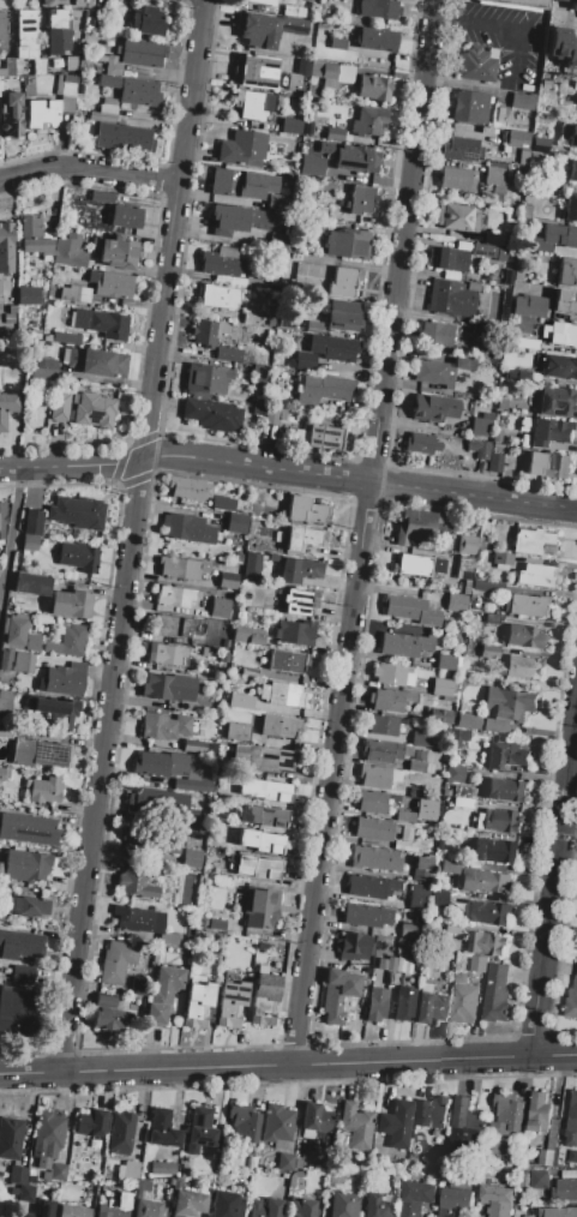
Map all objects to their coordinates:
building: (564, 0)
building: (262, 2)
building: (516, 4)
building: (573, 5)
building: (379, 8)
building: (293, 11)
building: (90, 18)
building: (145, 20)
building: (291, 24)
building: (2, 30)
building: (56, 30)
building: (258, 30)
building: (26, 40)
building: (377, 40)
building: (337, 43)
building: (558, 44)
building: (140, 52)
building: (571, 55)
building: (67, 64)
building: (477, 64)
building: (110, 65)
building: (302, 67)
building: (315, 67)
building: (329, 70)
building: (253, 71)
building: (1, 72)
building: (344, 73)
building: (108, 80)
building: (327, 83)
building: (65, 84)
building: (545, 84)
building: (575, 85)
building: (525, 86)
building: (78, 88)
building: (373, 88)
building: (0, 90)
building: (138, 92)
building: (108, 101)
building: (522, 101)
building: (65, 103)
building: (251, 106)
building: (469, 106)
building: (576, 106)
building: (42, 113)
building: (103, 113)
building: (498, 114)
building: (11, 115)
building: (368, 121)
building: (291, 126)
building: (333, 134)
building: (573, 136)
building: (124, 137)
building: (517, 139)
building: (539, 145)
building: (240, 146)
building: (325, 146)
building: (461, 149)
building: (356, 158)
building: (312, 164)
building: (506, 164)
building: (572, 170)
road: (88, 173)
building: (494, 178)
building: (456, 179)
building: (241, 182)
building: (554, 182)
building: (101, 196)
building: (495, 198)
building: (359, 199)
building: (277, 203)
building: (570, 208)
building: (525, 210)
building: (335, 215)
building: (125, 216)
building: (457, 217)
building: (241, 220)
building: (35, 235)
building: (560, 235)
building: (492, 238)
building: (95, 242)
building: (347, 242)
building: (463, 245)
building: (540, 246)
building: (6, 247)
building: (477, 250)
building: (68, 251)
building: (495, 252)
building: (119, 253)
building: (449, 258)
building: (221, 262)
building: (308, 270)
building: (518, 270)
building: (566, 270)
building: (450, 275)
building: (507, 277)
building: (229, 278)
building: (252, 281)
building: (344, 281)
building: (110, 283)
building: (274, 283)
building: (262, 284)
building: (306, 284)
building: (0, 287)
building: (74, 293)
building: (272, 294)
building: (28, 295)
building: (217, 296)
building: (451, 298)
building: (565, 301)
building: (529, 305)
building: (11, 308)
building: (344, 316)
building: (251, 317)
building: (8, 318)
building: (270, 318)
building: (286, 322)
building: (313, 322)
building: (101, 323)
building: (477, 329)
building: (209, 332)
building: (35, 334)
building: (435, 334)
building: (559, 334)
building: (47, 337)
building: (66, 338)
building: (524, 342)
building: (333, 347)
building: (36, 349)
building: (228, 353)
building: (495, 355)
building: (305, 360)
building: (94, 361)
building: (558, 366)
building: (42, 368)
building: (259, 370)
building: (433, 373)
building: (511, 374)
building: (523, 376)
building: (61, 377)
building: (205, 379)
building: (258, 380)
building: (511, 383)
building: (323, 389)
building: (555, 400)
building: (500, 403)
building: (59, 406)
building: (6, 407)
building: (258, 408)
building: (323, 408)
building: (433, 408)
building: (94, 409)
building: (211, 414)
building: (271, 414)
building: (325, 416)
building: (481, 424)
building: (525, 424)
building: (551, 432)
building: (319, 436)
building: (495, 436)
building: (421, 443)
building: (477, 448)
building: (494, 462)
building: (547, 464)
road: (288, 469)
building: (188, 487)
building: (256, 496)
building: (223, 503)
building: (256, 506)
building: (306, 510)
building: (77, 512)
building: (421, 518)
building: (1, 520)
building: (32, 522)
building: (236, 522)
road: (10, 528)
building: (188, 528)
road: (361, 532)
road: (128, 535)
building: (303, 538)
building: (29, 542)
building: (535, 542)
building: (465, 545)
building: (78, 556)
building: (238, 558)
building: (272, 558)
building: (500, 559)
building: (252, 564)
building: (413, 565)
building: (204, 566)
building: (179, 568)
building: (299, 569)
building: (464, 575)
building: (535, 575)
parking lot: (1, 576)
building: (227, 581)
building: (31, 584)
building: (483, 586)
building: (175, 596)
building: (299, 601)
building: (456, 602)
building: (68, 604)
building: (529, 605)
building: (220, 607)
building: (409, 610)
building: (40, 618)
building: (479, 618)
building: (492, 618)
building: (170, 625)
building: (217, 628)
building: (16, 629)
building: (36, 629)
building: (294, 633)
building: (247, 636)
building: (524, 636)
building: (456, 639)
building: (31, 641)
building: (66, 642)
building: (226, 642)
building: (403, 645)
building: (488, 651)
building: (205, 652)
building: (164, 653)
building: (5, 660)
building: (287, 661)
building: (421, 661)
building: (23, 663)
building: (429, 663)
building: (447, 663)
building: (523, 667)
building: (248, 671)
building: (392, 673)
building: (62, 679)
building: (168, 687)
building: (440, 687)
building: (284, 694)
building: (389, 699)
building: (5, 702)
building: (242, 703)
building: (507, 703)
building: (53, 709)
building: (216, 711)
building: (439, 714)
building: (467, 720)
building: (381, 724)
building: (278, 725)
building: (163, 726)
building: (5, 731)
building: (236, 731)
building: (457, 737)
building: (421, 738)
building: (193, 745)
building: (210, 748)
building: (384, 750)
building: (37, 753)
building: (506, 756)
building: (264, 757)
building: (161, 763)
building: (419, 766)
building: (1, 773)
building: (453, 773)
building: (377, 775)
building: (193, 785)
building: (42, 789)
building: (265, 790)
building: (505, 790)
building: (463, 791)
building: (395, 798)
building: (369, 801)
building: (463, 803)
building: (161, 804)
building: (425, 809)
building: (272, 816)
building: (404, 816)
building: (501, 821)
building: (28, 828)
building: (373, 828)
building: (150, 839)
building: (269, 843)
building: (440, 844)
building: (405, 845)
building: (494, 851)
building: (374, 857)
building: (191, 858)
building: (422, 862)
building: (24, 865)
building: (450, 865)
building: (256, 867)
building: (155, 871)
road: (553, 880)
building: (485, 881)
building: (223, 882)
building: (133, 883)
building: (372, 886)
building: (420, 888)
building: (438, 897)
building: (417, 900)
building: (28, 906)
building: (260, 906)
building: (486, 912)
building: (366, 915)
building: (1, 917)
building: (138, 918)
building: (216, 924)
building: (409, 931)
building: (169, 939)
building: (23, 943)
building: (487, 943)
building: (354, 946)
building: (157, 954)
building: (116, 960)
building: (381, 964)
building: (392, 964)
building: (479, 964)
building: (404, 965)
building: (20, 973)
building: (163, 991)
building: (337, 994)
building: (495, 995)
building: (264, 999)
building: (104, 1000)
building: (462, 1000)
building: (571, 1001)
building: (404, 1002)
building: (198, 1003)
building: (232, 1003)
building: (375, 1003)
building: (428, 1005)
building: (8, 1009)
building: (26, 1012)
building: (107, 1019)
road: (288, 1065)
building: (433, 1114)
building: (540, 1114)
building: (506, 1117)
building: (314, 1119)
building: (91, 1122)
building: (242, 1122)
building: (572, 1122)
building: (396, 1123)
building: (355, 1125)
building: (467, 1125)
building: (277, 1126)
building: (161, 1128)
building: (199, 1129)
building: (120, 1132)
building: (10, 1138)
building: (47, 1138)
building: (440, 1146)
building: (546, 1158)
building: (575, 1159)
building: (284, 1162)
building: (435, 1162)
building: (250, 1164)
building: (163, 1168)
building: (130, 1169)
building: (257, 1169)
building: (119, 1170)
building: (184, 1170)
building: (58, 1171)
building: (68, 1173)
building: (17, 1174)
building: (335, 1176)
building: (540, 1180)
building: (143, 1185)
building: (461, 1185)
building: (567, 1191)
building: (25, 1193)
building: (417, 1198)
building: (498, 1200)
building: (537, 1200)
building: (188, 1203)
building: (456, 1203)
building: (226, 1204)
building: (342, 1205)
building: (113, 1206)
building: (378, 1206)
building: (264, 1207)
building: (301, 1207)
building: (41, 1209)
building: (148, 1209)
building: (71, 1211)
building: (558, 1212)
building: (464, 1213)
building: (527, 1216)

